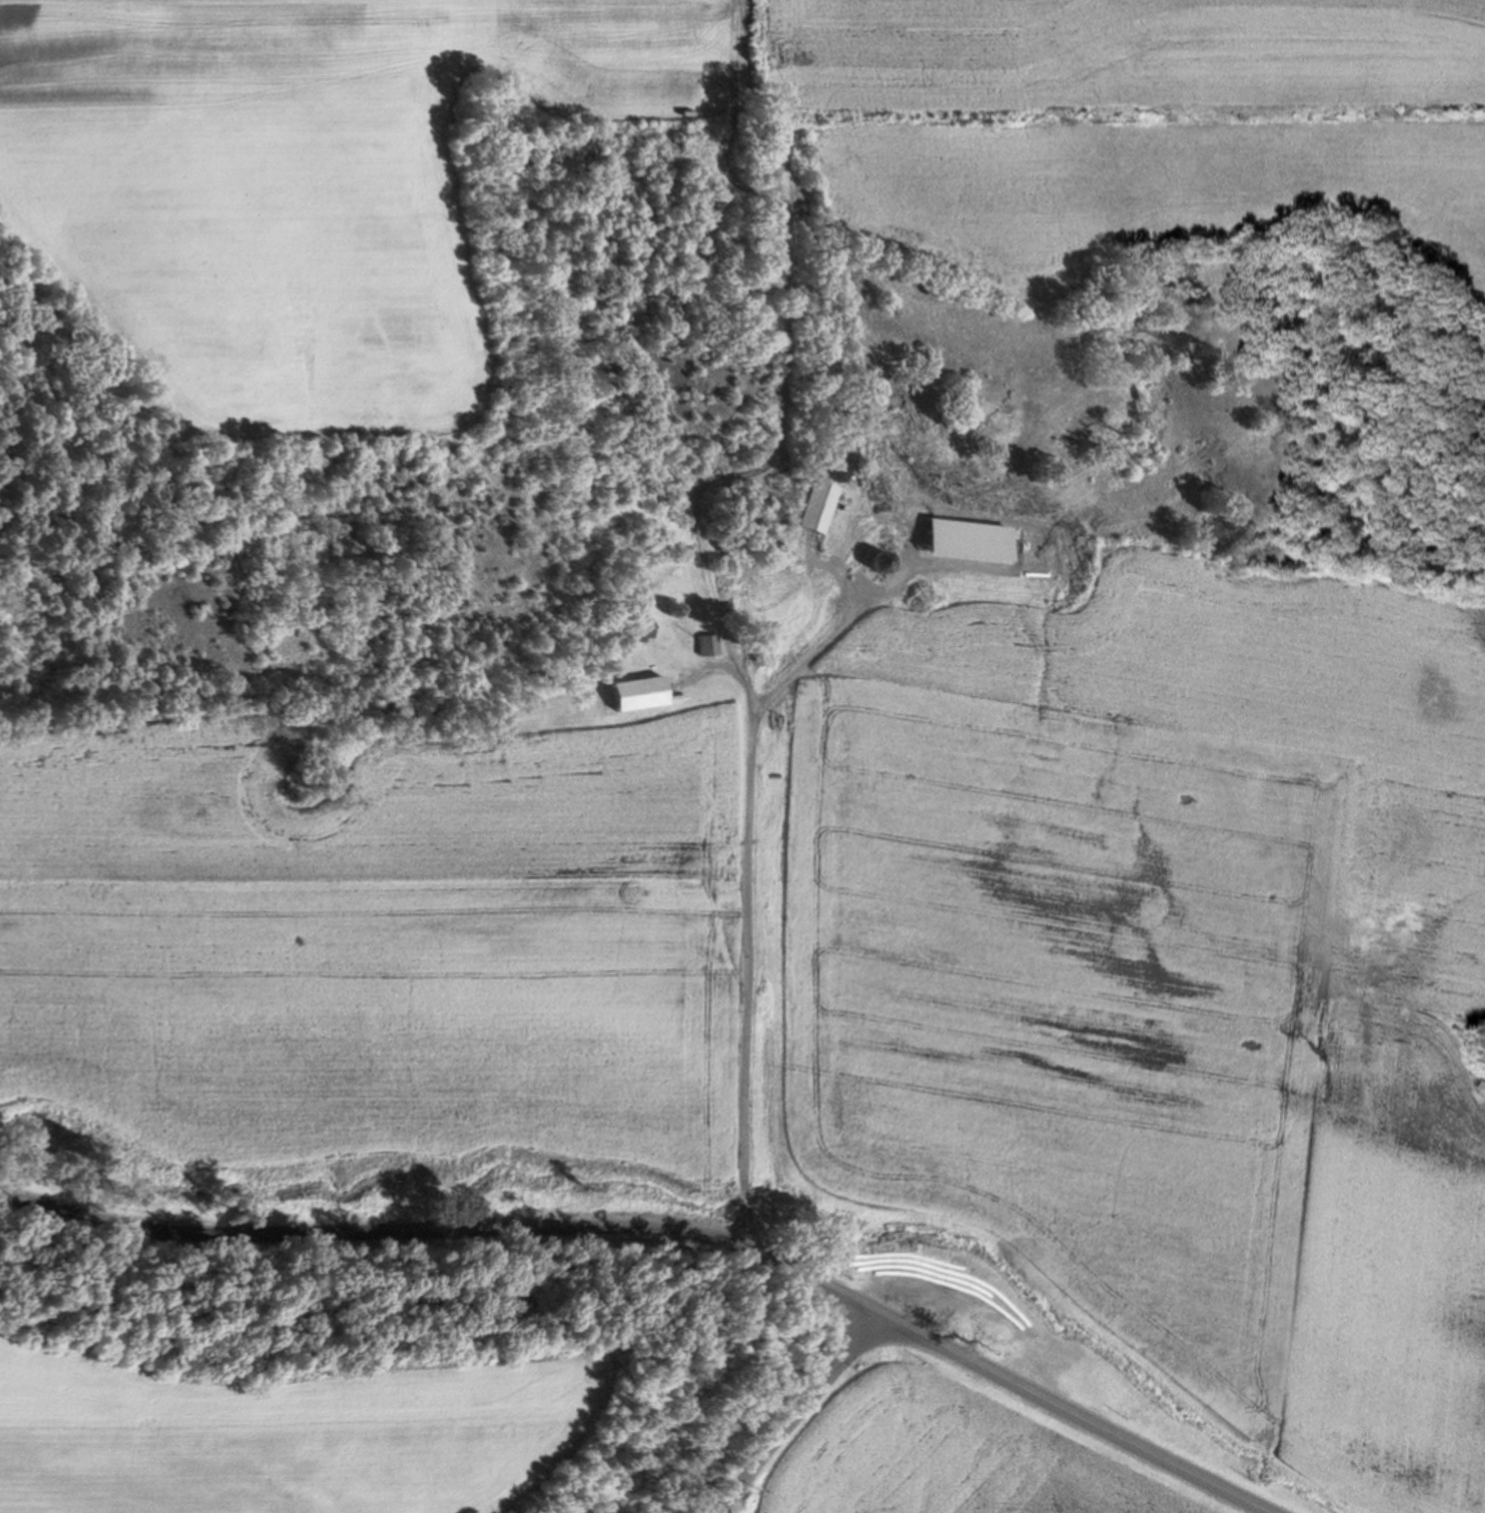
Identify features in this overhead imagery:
building: (817, 507)
building: (886, 562)
building: (637, 627)
building: (708, 645)
building: (643, 693)
building: (607, 704)
road: (743, 955)
road: (665, 1230)
road: (800, 1416)

